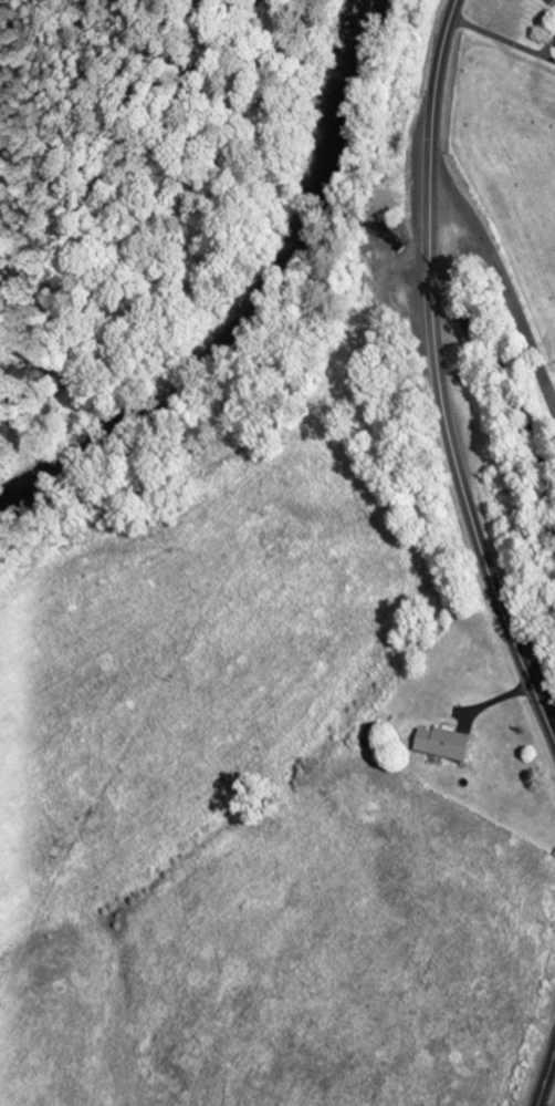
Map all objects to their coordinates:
road: (502, 279)
river: (245, 299)
road: (436, 390)
building: (440, 743)
road: (543, 1068)

